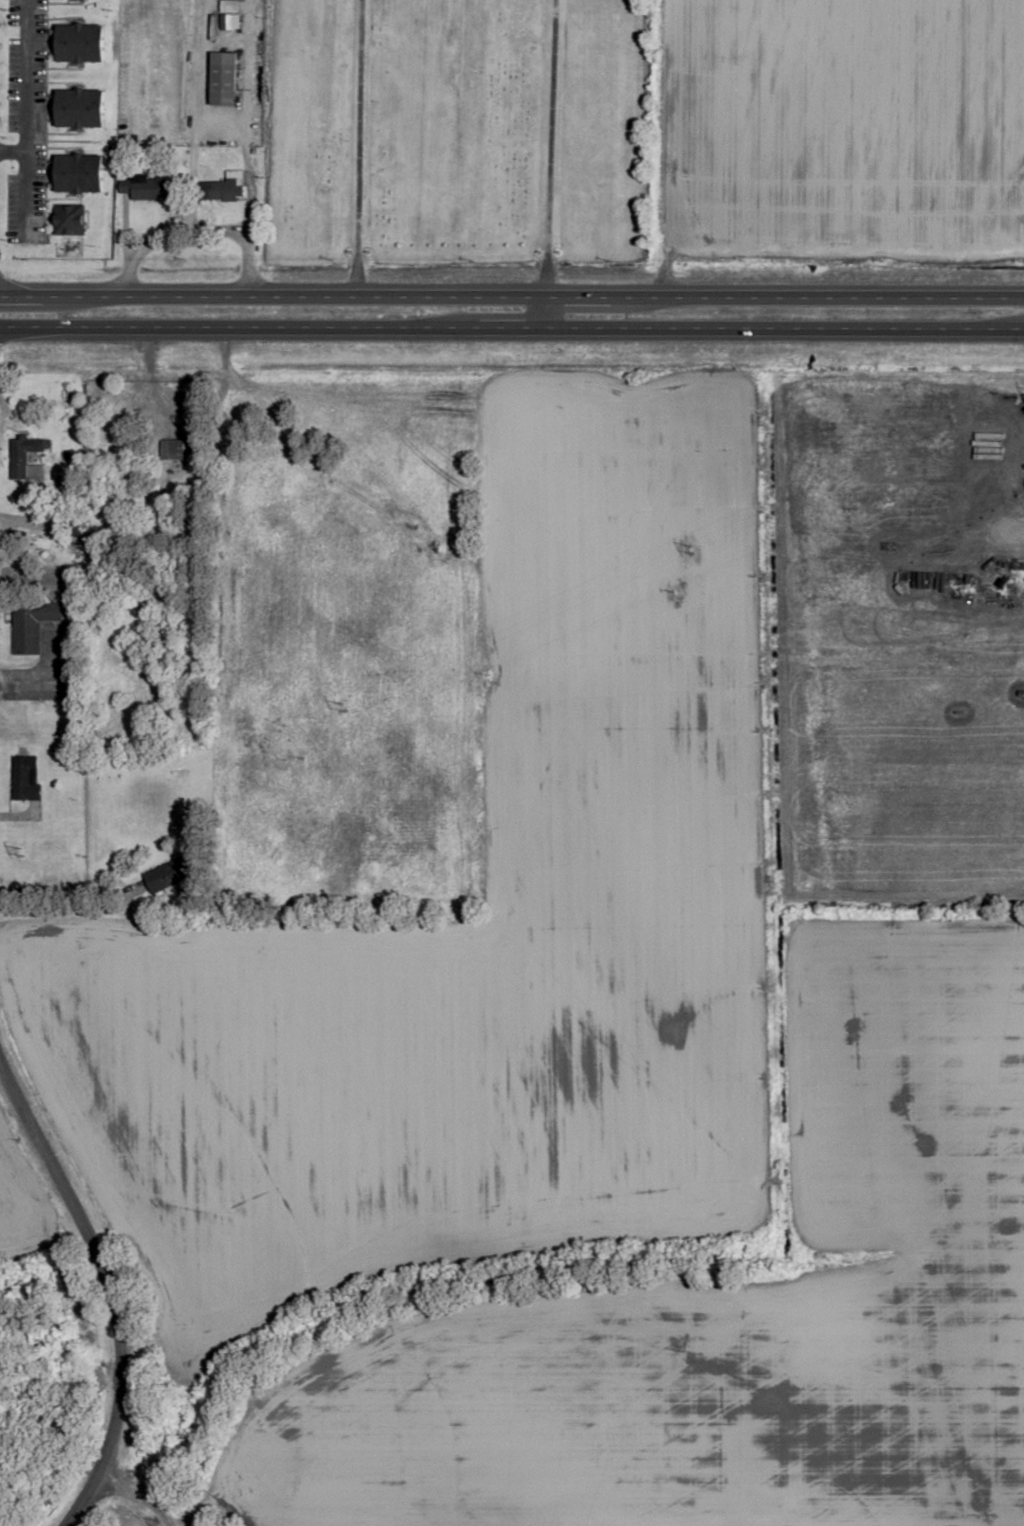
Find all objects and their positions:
building: (230, 6)
building: (230, 23)
building: (82, 43)
building: (224, 78)
building: (82, 109)
road: (26, 120)
road: (221, 126)
crop: (842, 130)
park: (456, 132)
road: (357, 149)
road: (548, 149)
road: (13, 151)
building: (81, 174)
road: (188, 176)
building: (222, 187)
building: (145, 188)
road: (247, 212)
building: (70, 219)
road: (123, 231)
road: (164, 234)
road: (511, 298)
road: (511, 329)
building: (178, 448)
building: (19, 458)
building: (44, 543)
building: (31, 624)
building: (24, 780)
building: (169, 874)
road: (103, 1266)
road: (134, 1498)
road: (83, 1505)

